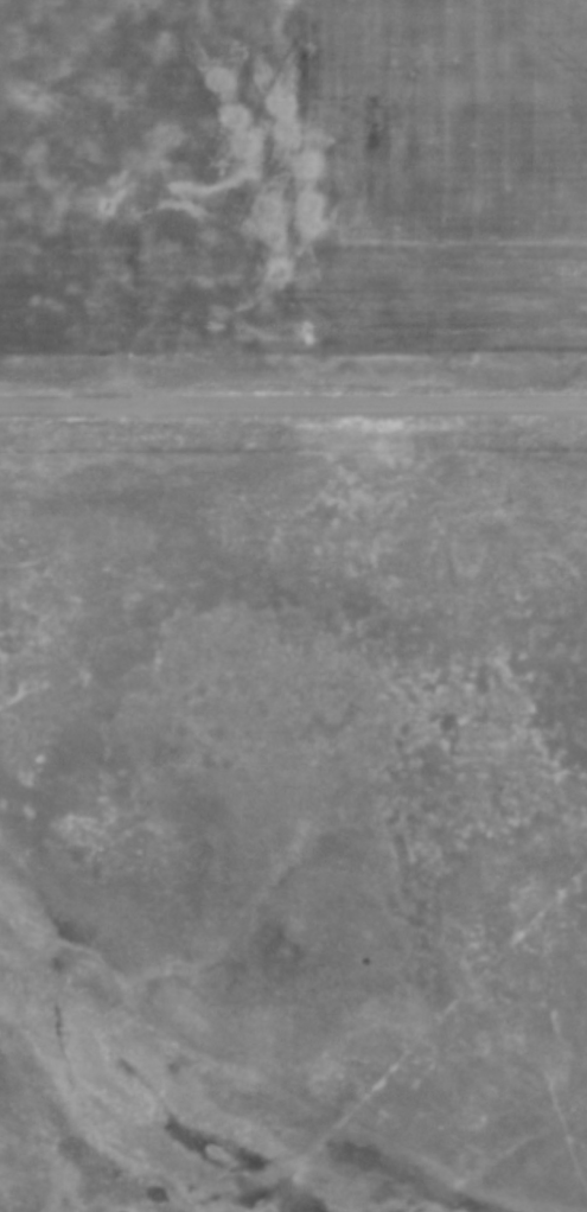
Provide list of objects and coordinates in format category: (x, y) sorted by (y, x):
road: (293, 407)

